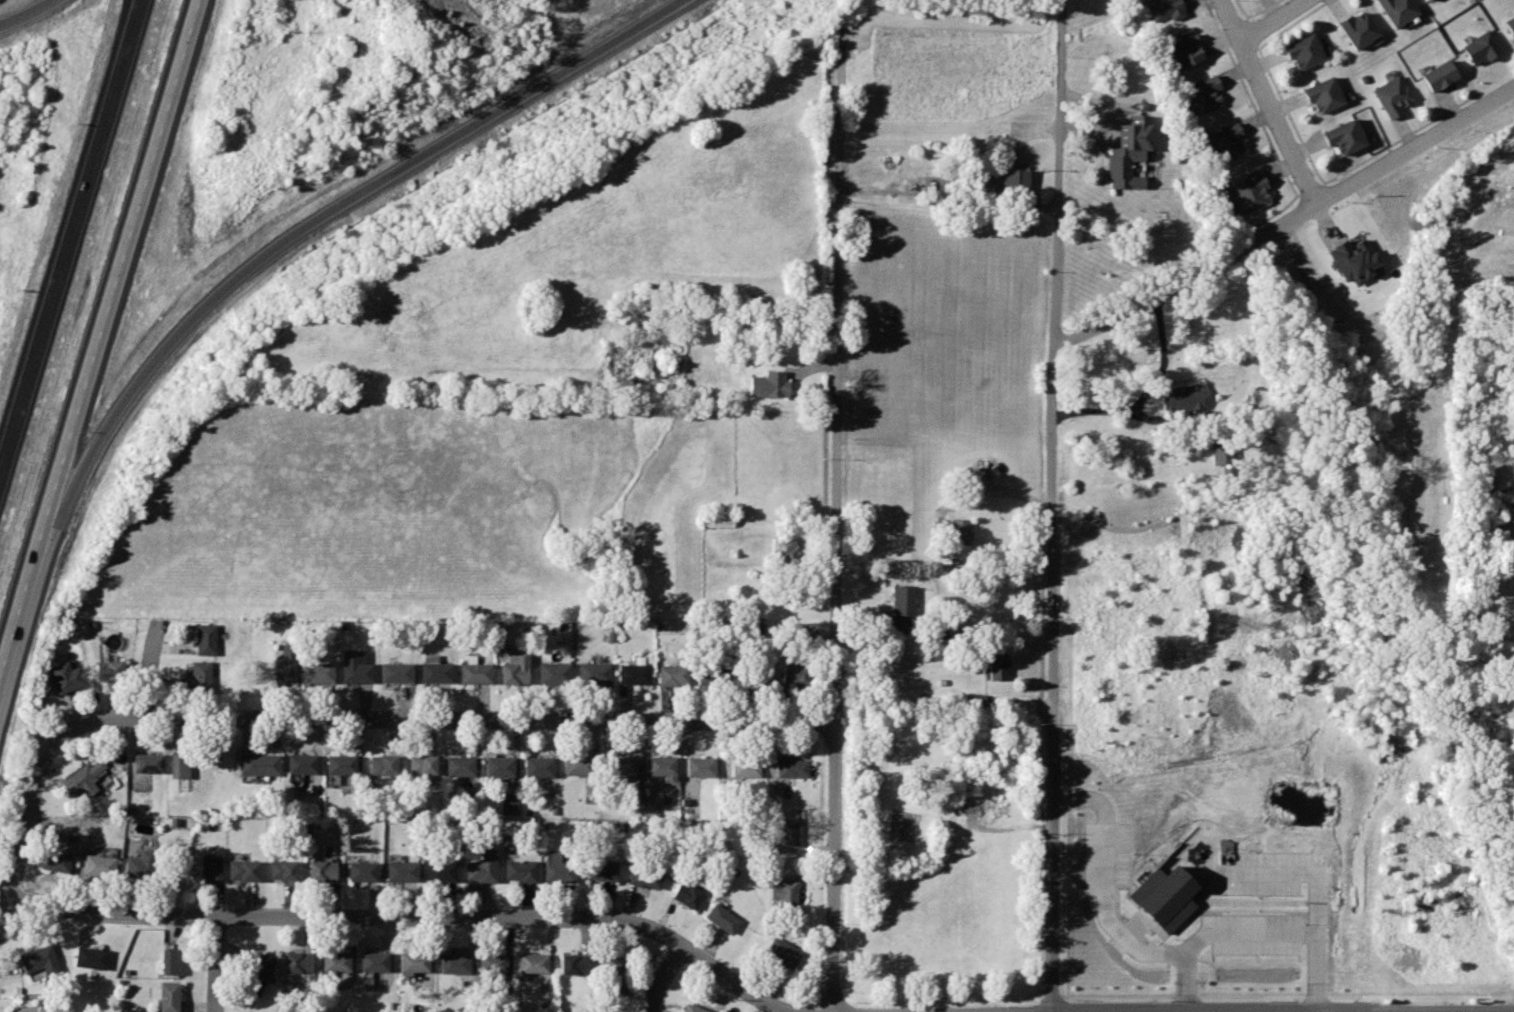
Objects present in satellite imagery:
building: (1430, 0)
road: (1240, 8)
road: (1262, 8)
building: (1164, 9)
building: (1397, 10)
road: (24, 12)
road: (1273, 20)
road: (1293, 23)
building: (1510, 24)
building: (1358, 29)
road: (1250, 33)
building: (1480, 48)
building: (1185, 50)
building: (1302, 51)
building: (1436, 76)
building: (1204, 94)
building: (1322, 95)
building: (1393, 96)
road: (1249, 97)
road: (1269, 101)
road: (1289, 115)
road: (1419, 127)
building: (1343, 137)
building: (1227, 141)
building: (1130, 152)
building: (1009, 186)
road: (1310, 188)
building: (1250, 191)
building: (969, 199)
road: (1272, 213)
road: (329, 214)
road: (1287, 222)
road: (68, 234)
road: (123, 257)
building: (1352, 259)
road: (811, 363)
building: (769, 384)
road: (1147, 388)
building: (1183, 397)
road: (1147, 415)
building: (1223, 454)
road: (995, 491)
road: (1053, 505)
road: (837, 519)
building: (955, 529)
building: (785, 552)
road: (24, 604)
building: (903, 607)
building: (206, 638)
building: (286, 663)
building: (996, 664)
building: (356, 668)
building: (516, 668)
road: (150, 669)
building: (112, 670)
building: (435, 670)
building: (475, 671)
building: (793, 671)
building: (595, 672)
building: (634, 672)
building: (756, 672)
building: (318, 673)
building: (396, 673)
building: (555, 673)
building: (674, 675)
building: (715, 675)
building: (201, 676)
building: (67, 677)
building: (973, 699)
road: (1022, 703)
road: (458, 722)
building: (148, 763)
building: (302, 763)
building: (259, 764)
building: (342, 764)
building: (384, 764)
building: (422, 764)
building: (577, 765)
building: (180, 766)
building: (461, 766)
building: (500, 766)
building: (622, 766)
building: (701, 766)
building: (746, 766)
building: (539, 767)
building: (663, 767)
building: (792, 767)
building: (83, 779)
building: (510, 804)
building: (646, 805)
road: (26, 816)
building: (788, 831)
building: (55, 860)
building: (139, 864)
building: (99, 865)
building: (482, 865)
building: (210, 867)
building: (243, 869)
building: (283, 869)
building: (322, 869)
building: (559, 869)
building: (521, 870)
building: (603, 870)
building: (362, 871)
building: (403, 871)
building: (441, 871)
building: (645, 876)
building: (785, 894)
building: (687, 895)
building: (1165, 896)
road: (1105, 913)
road: (411, 917)
building: (723, 918)
road: (1285, 931)
building: (782, 952)
building: (91, 958)
building: (41, 960)
building: (171, 961)
building: (336, 961)
building: (298, 962)
building: (375, 962)
building: (415, 962)
building: (492, 962)
building: (455, 963)
building: (533, 963)
road: (217, 964)
building: (576, 964)
building: (258, 973)
road: (662, 974)
building: (612, 978)
building: (166, 996)
building: (693, 1009)
road: (646, 1010)

